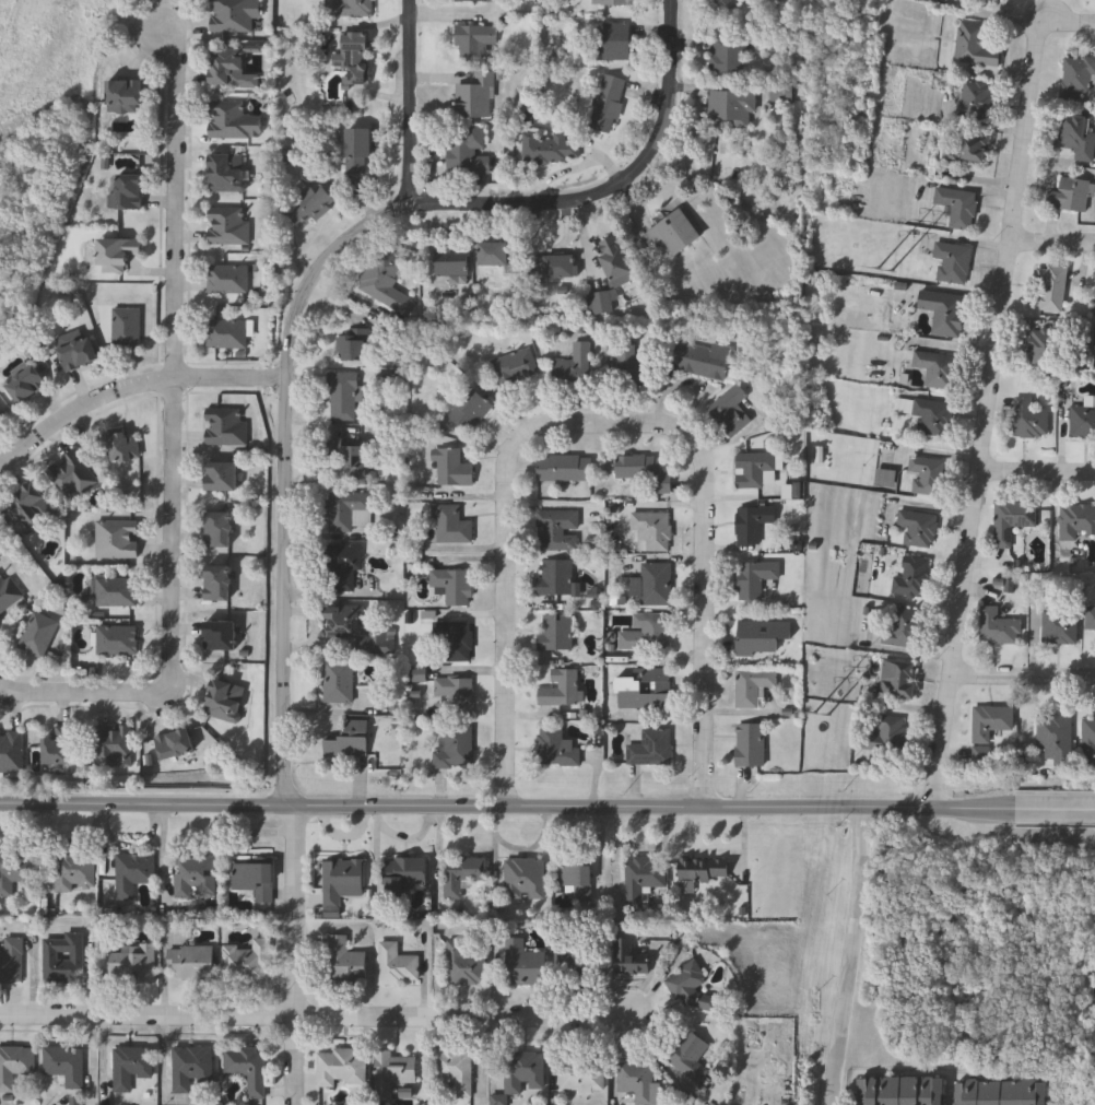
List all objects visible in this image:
building: (483, 1)
building: (1000, 1)
building: (613, 2)
building: (352, 8)
building: (723, 8)
building: (234, 15)
road: (1070, 23)
building: (476, 40)
building: (616, 40)
building: (975, 46)
building: (727, 55)
building: (355, 57)
building: (229, 71)
building: (1078, 77)
building: (780, 92)
building: (126, 95)
building: (476, 96)
building: (978, 102)
building: (608, 103)
road: (410, 105)
building: (732, 106)
building: (232, 122)
building: (1078, 136)
building: (968, 148)
building: (552, 149)
building: (358, 150)
building: (470, 151)
building: (227, 173)
building: (128, 191)
building: (1071, 196)
building: (313, 208)
building: (958, 208)
road: (566, 211)
building: (228, 226)
building: (674, 233)
road: (1052, 245)
building: (117, 254)
building: (502, 255)
building: (617, 261)
building: (952, 263)
building: (556, 266)
building: (455, 267)
power tower: (886, 271)
building: (381, 274)
building: (227, 280)
building: (1051, 290)
road: (307, 295)
building: (601, 302)
building: (945, 314)
building: (126, 328)
building: (226, 333)
building: (354, 344)
building: (1046, 349)
building: (79, 354)
road: (173, 360)
building: (706, 360)
building: (635, 364)
building: (576, 365)
building: (516, 367)
building: (938, 369)
building: (26, 384)
road: (129, 391)
building: (343, 395)
building: (472, 409)
building: (731, 410)
road: (986, 415)
building: (1, 416)
building: (933, 418)
building: (1029, 420)
building: (1083, 421)
building: (225, 426)
building: (123, 447)
building: (351, 457)
building: (455, 468)
building: (565, 468)
building: (647, 469)
building: (756, 469)
road: (1036, 473)
building: (71, 475)
building: (221, 477)
building: (927, 477)
building: (27, 505)
building: (349, 510)
building: (1012, 521)
building: (1076, 522)
building: (754, 524)
building: (452, 526)
building: (918, 529)
building: (219, 530)
building: (558, 530)
building: (652, 530)
building: (116, 539)
road: (506, 548)
building: (344, 566)
building: (556, 576)
building: (756, 578)
building: (912, 579)
building: (217, 584)
building: (657, 584)
building: (455, 586)
building: (8, 591)
building: (116, 592)
road: (709, 614)
building: (1090, 620)
building: (344, 621)
building: (903, 628)
building: (998, 628)
building: (1059, 628)
building: (556, 632)
building: (647, 633)
building: (38, 635)
building: (220, 636)
building: (762, 638)
building: (455, 639)
building: (117, 640)
road: (290, 666)
road: (1023, 680)
building: (899, 681)
building: (342, 684)
building: (753, 685)
building: (565, 687)
building: (645, 687)
road: (82, 695)
building: (457, 695)
building: (224, 701)
power tower: (823, 719)
building: (990, 724)
building: (885, 734)
building: (1088, 738)
building: (1055, 739)
building: (350, 740)
building: (174, 744)
building: (751, 744)
building: (113, 745)
building: (57, 747)
building: (456, 748)
building: (557, 748)
building: (651, 748)
building: (11, 752)
road: (145, 808)
road: (693, 810)
building: (703, 868)
building: (16, 871)
building: (460, 872)
building: (75, 873)
building: (133, 874)
building: (196, 875)
building: (572, 875)
building: (404, 877)
building: (522, 877)
building: (640, 878)
building: (340, 879)
building: (256, 881)
building: (596, 956)
road: (849, 956)
building: (626, 957)
building: (64, 959)
building: (344, 960)
building: (11, 961)
building: (463, 962)
building: (191, 963)
building: (247, 963)
building: (521, 963)
building: (133, 964)
building: (395, 964)
building: (686, 983)
road: (148, 1016)
road: (466, 1019)
building: (687, 1054)
road: (294, 1060)
building: (14, 1066)
building: (66, 1066)
building: (522, 1066)
building: (132, 1067)
building: (191, 1067)
building: (340, 1067)
building: (248, 1069)
building: (390, 1071)
building: (580, 1075)
building: (636, 1081)
building: (900, 1091)
building: (1001, 1093)

